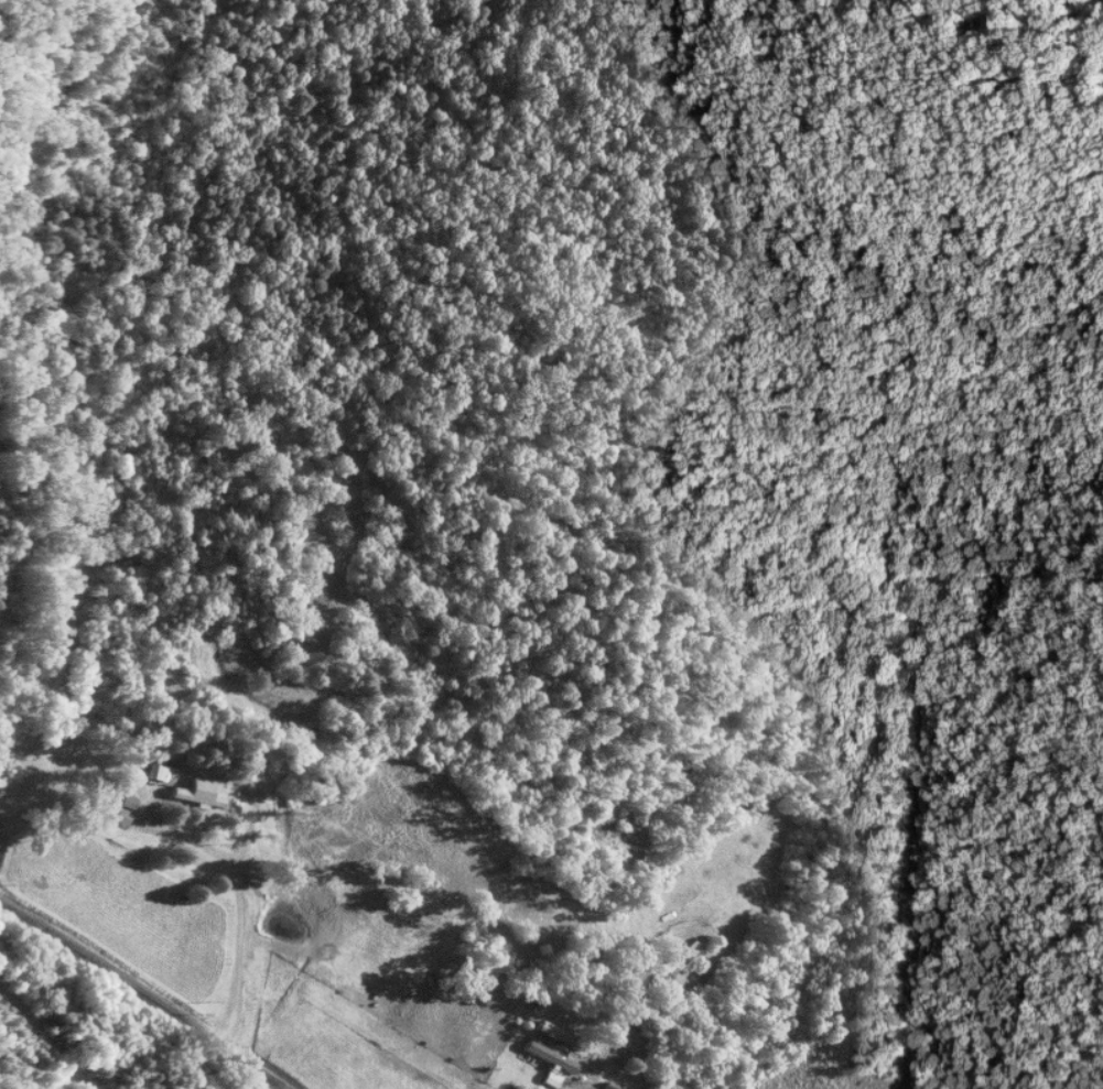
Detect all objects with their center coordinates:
building: (205, 793)
building: (128, 801)
building: (121, 815)
road: (245, 923)
road: (145, 992)

